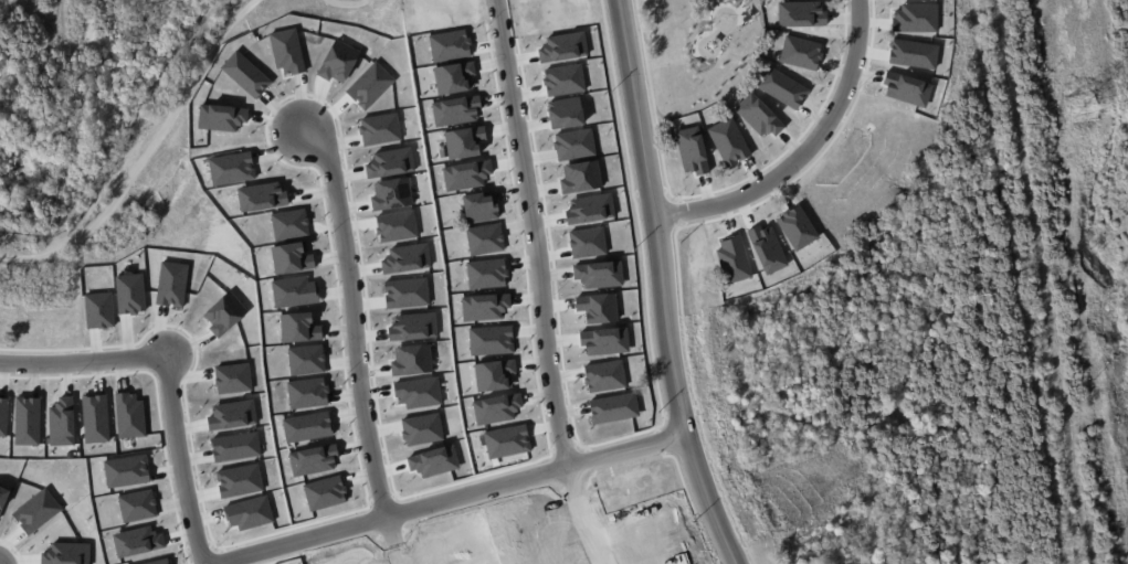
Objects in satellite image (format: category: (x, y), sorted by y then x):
road: (341, 7)
building: (802, 14)
building: (917, 17)
building: (451, 45)
building: (563, 46)
building: (288, 51)
building: (802, 52)
building: (916, 53)
building: (339, 61)
building: (247, 74)
building: (455, 77)
building: (565, 79)
building: (370, 85)
building: (783, 87)
building: (908, 88)
power tower: (1079, 107)
building: (456, 110)
building: (567, 113)
building: (223, 117)
building: (761, 117)
building: (379, 129)
building: (465, 141)
building: (730, 141)
building: (576, 145)
road: (811, 148)
building: (693, 149)
road: (147, 153)
building: (390, 163)
building: (232, 168)
building: (466, 175)
building: (581, 177)
building: (391, 194)
building: (262, 196)
building: (483, 206)
building: (591, 207)
building: (289, 224)
building: (396, 226)
building: (799, 228)
road: (534, 233)
building: (485, 238)
building: (588, 242)
building: (770, 248)
building: (291, 257)
building: (407, 258)
building: (735, 259)
road: (1, 270)
building: (487, 274)
building: (600, 275)
building: (172, 285)
road: (671, 285)
building: (295, 291)
building: (407, 292)
building: (131, 294)
building: (486, 307)
building: (600, 307)
building: (99, 310)
road: (359, 311)
building: (224, 313)
building: (413, 326)
building: (301, 327)
building: (492, 340)
building: (607, 341)
road: (87, 354)
building: (307, 359)
building: (412, 360)
building: (495, 374)
building: (605, 376)
building: (233, 379)
building: (419, 392)
building: (308, 393)
building: (614, 407)
building: (498, 408)
building: (129, 415)
building: (232, 415)
building: (4, 416)
building: (95, 418)
building: (28, 421)
building: (62, 422)
building: (308, 427)
building: (423, 429)
building: (508, 440)
building: (236, 446)
road: (189, 458)
building: (314, 459)
building: (435, 461)
building: (127, 471)
building: (240, 480)
building: (326, 492)
road: (449, 496)
building: (3, 498)
building: (138, 506)
building: (38, 511)
building: (249, 512)
building: (137, 541)
building: (66, 553)
building: (159, 561)
road: (1, 563)

